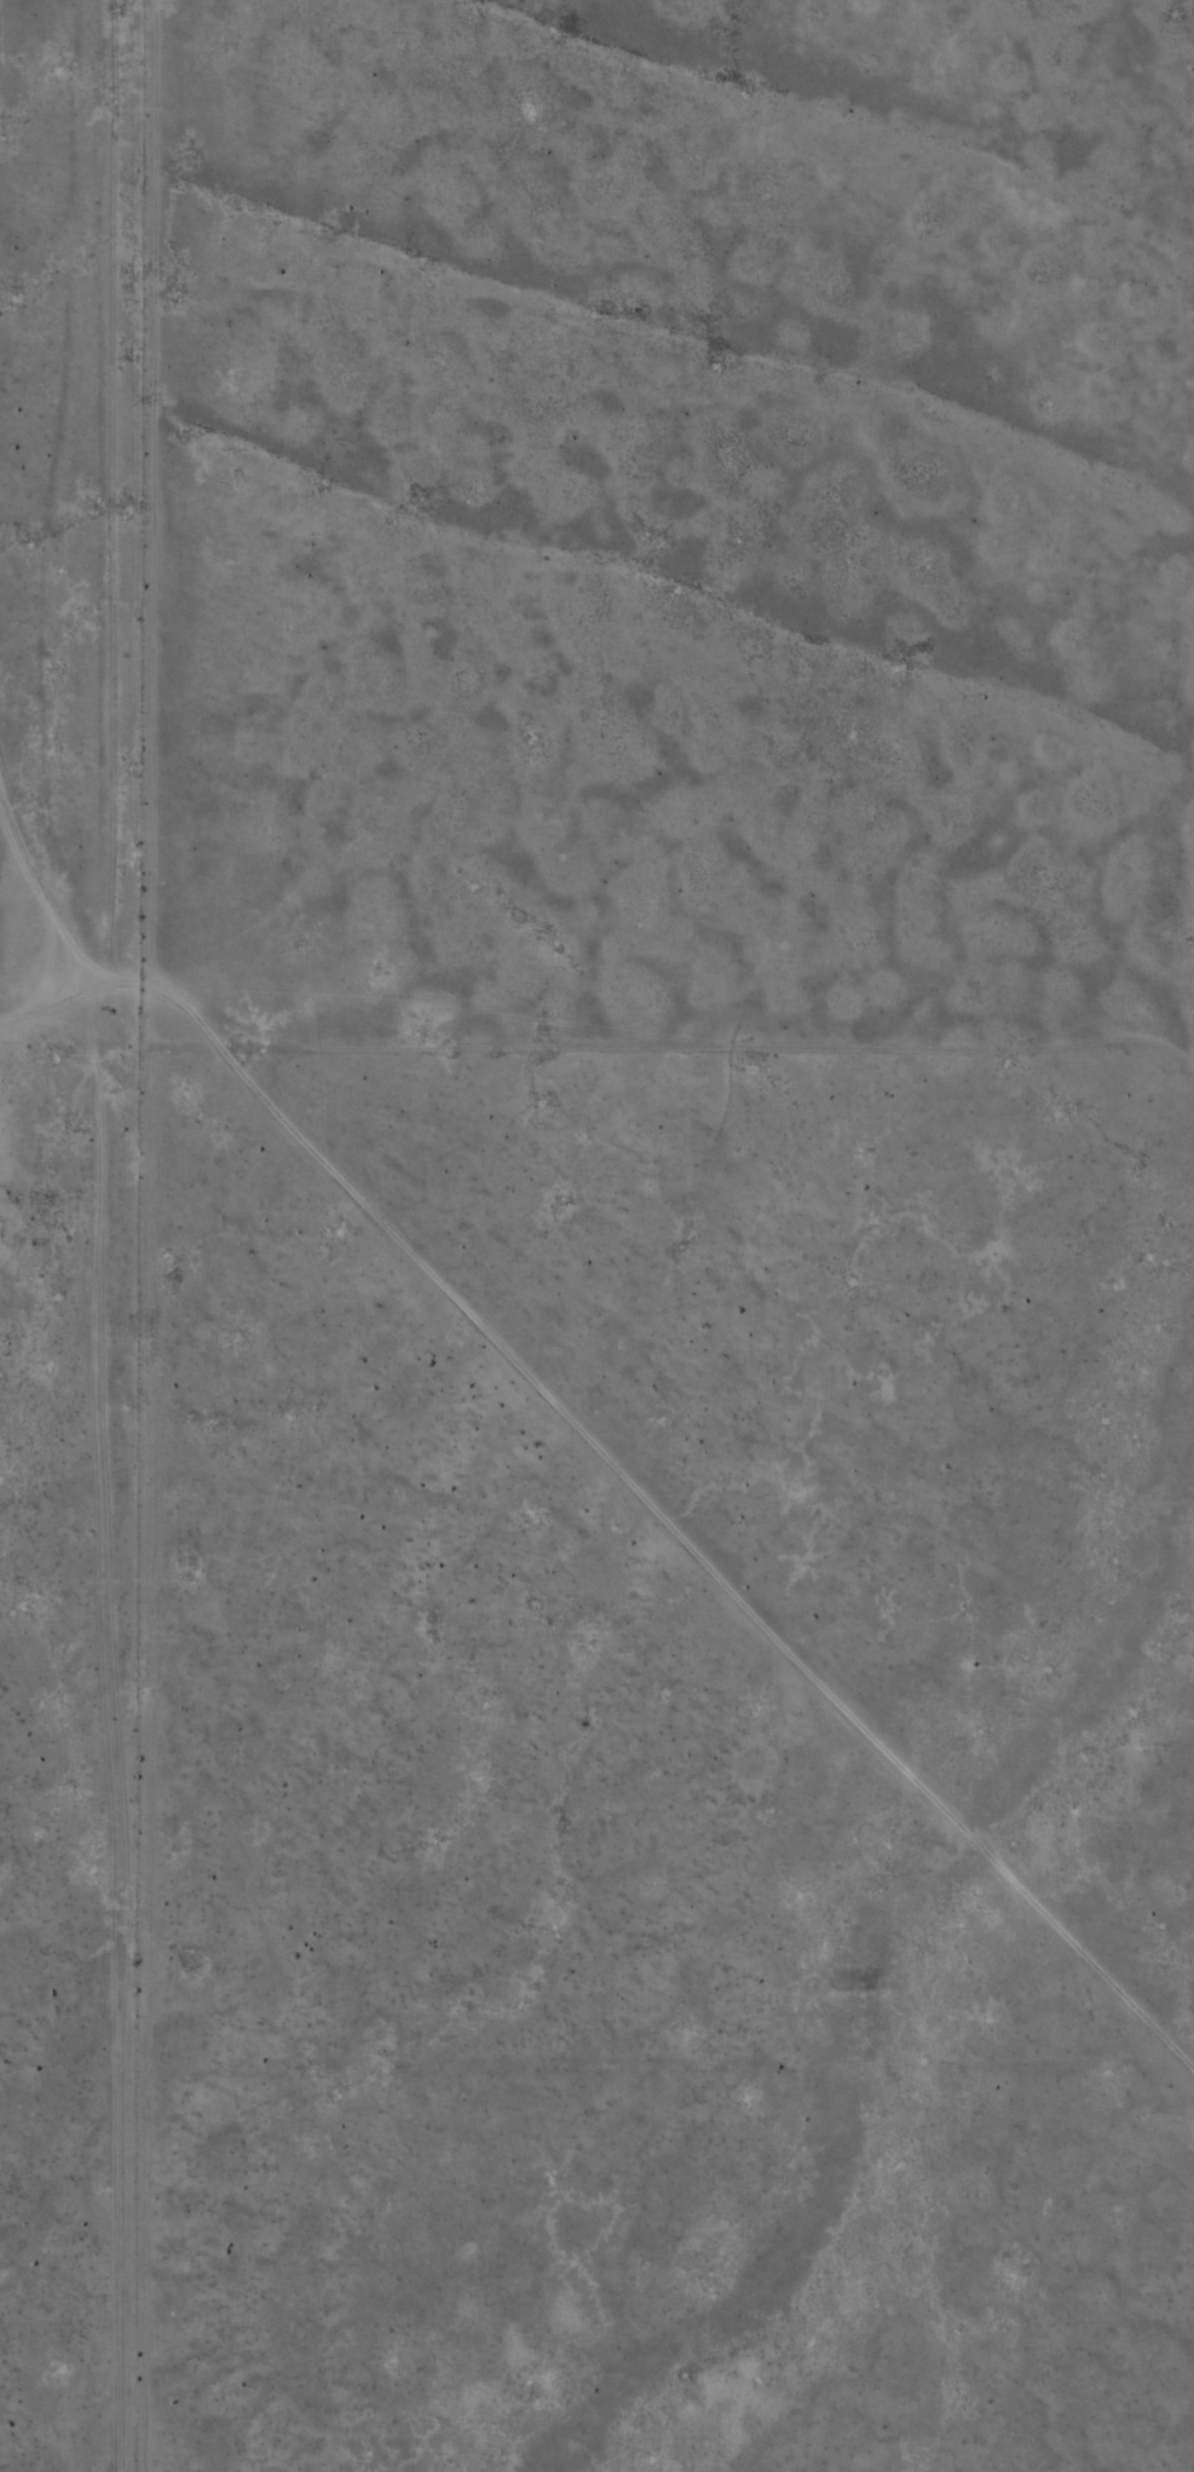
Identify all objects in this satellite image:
road: (57, 517)
road: (79, 984)
road: (17, 1355)
road: (656, 1411)

